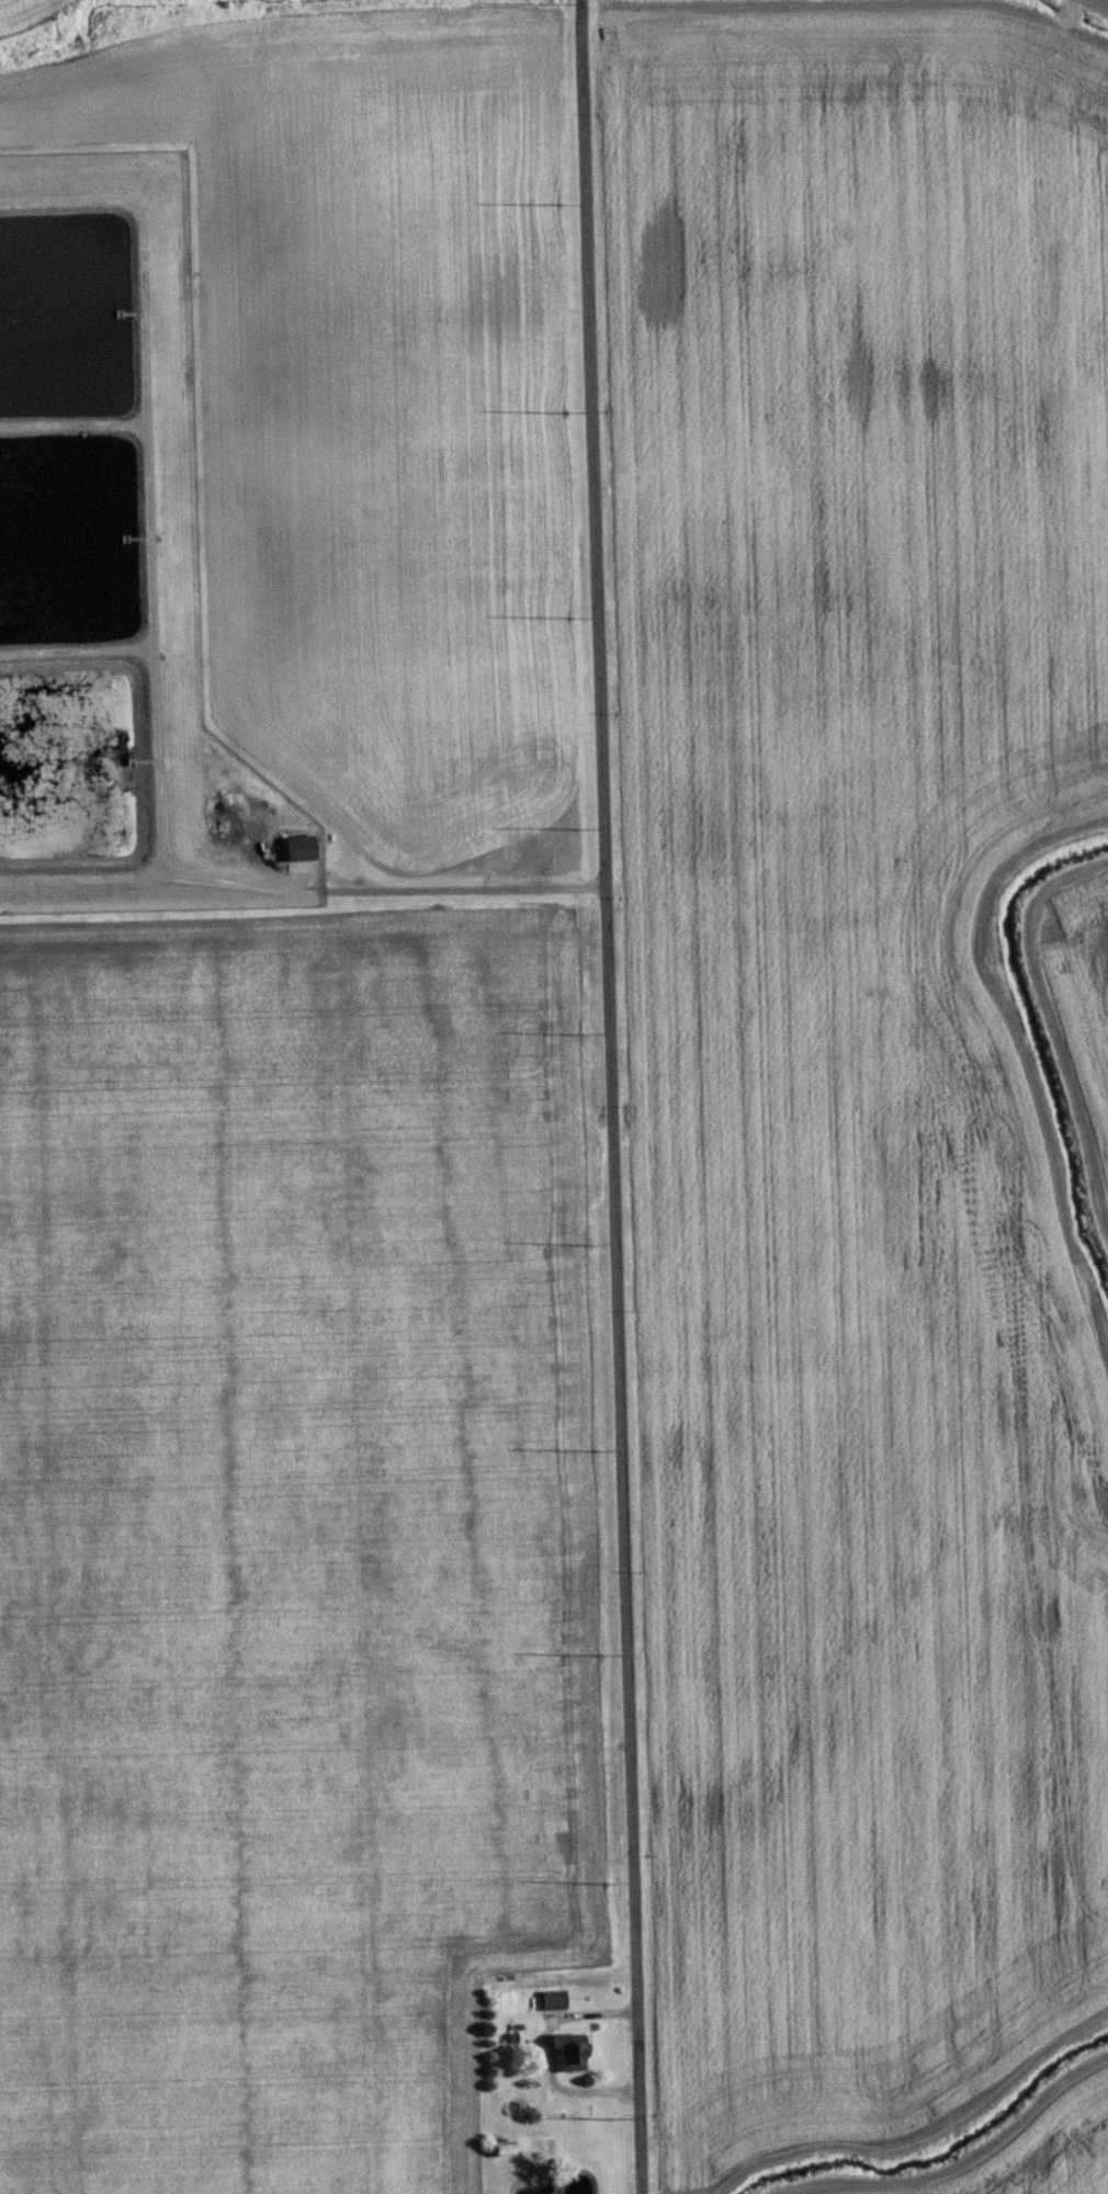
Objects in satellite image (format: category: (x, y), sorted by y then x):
crop: (2, 0)
crop: (1101, 2)
crop: (368, 404)
crop: (1078, 1019)
crop: (863, 1048)
road: (607, 1097)
crop: (286, 1541)
building: (549, 2001)
road: (546, 2048)
crop: (1038, 2151)

